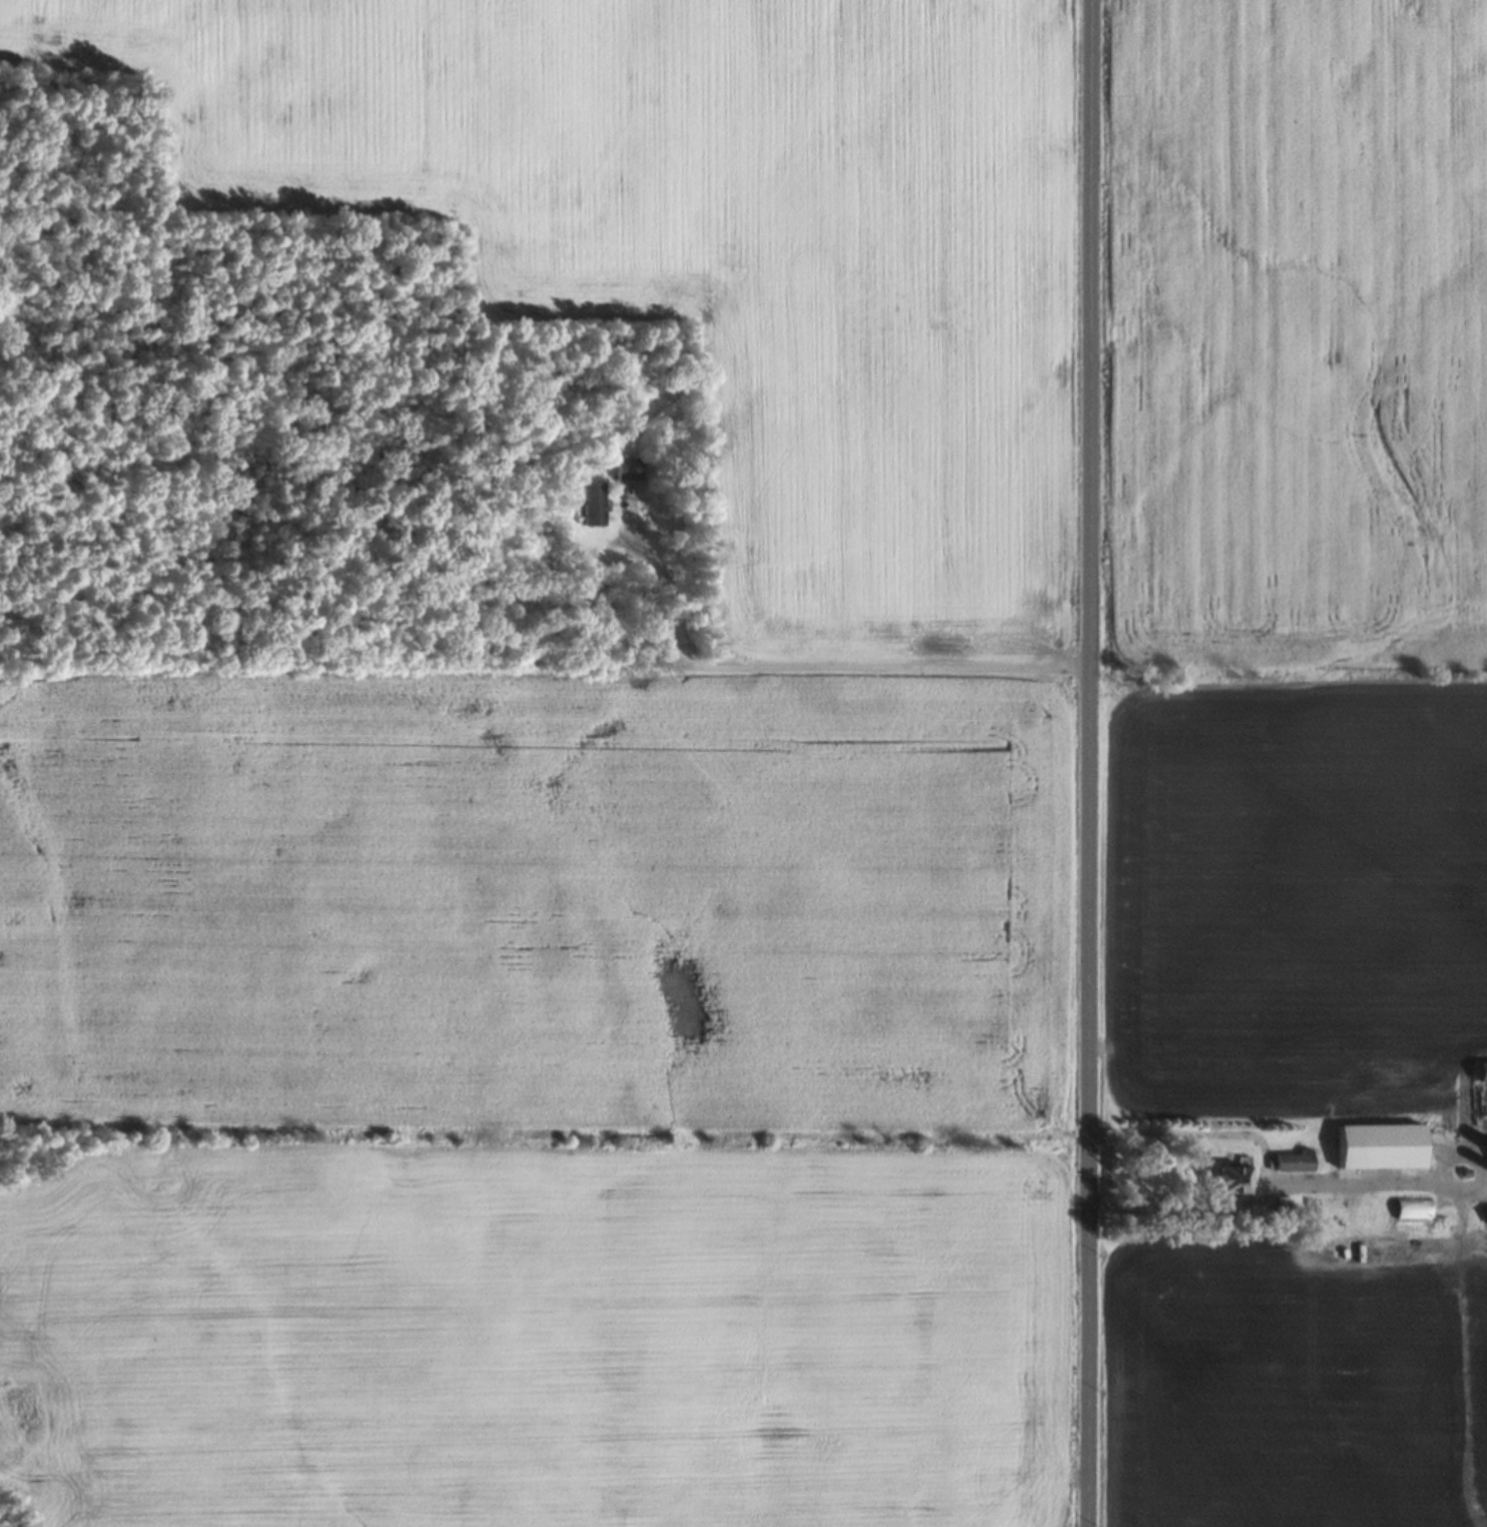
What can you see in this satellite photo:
crop: (720, 235)
crop: (1304, 330)
building: (629, 467)
building: (595, 503)
road: (1091, 763)
building: (1484, 1072)
building: (1387, 1145)
building: (1297, 1160)
building: (1236, 1179)
building: (1415, 1208)

